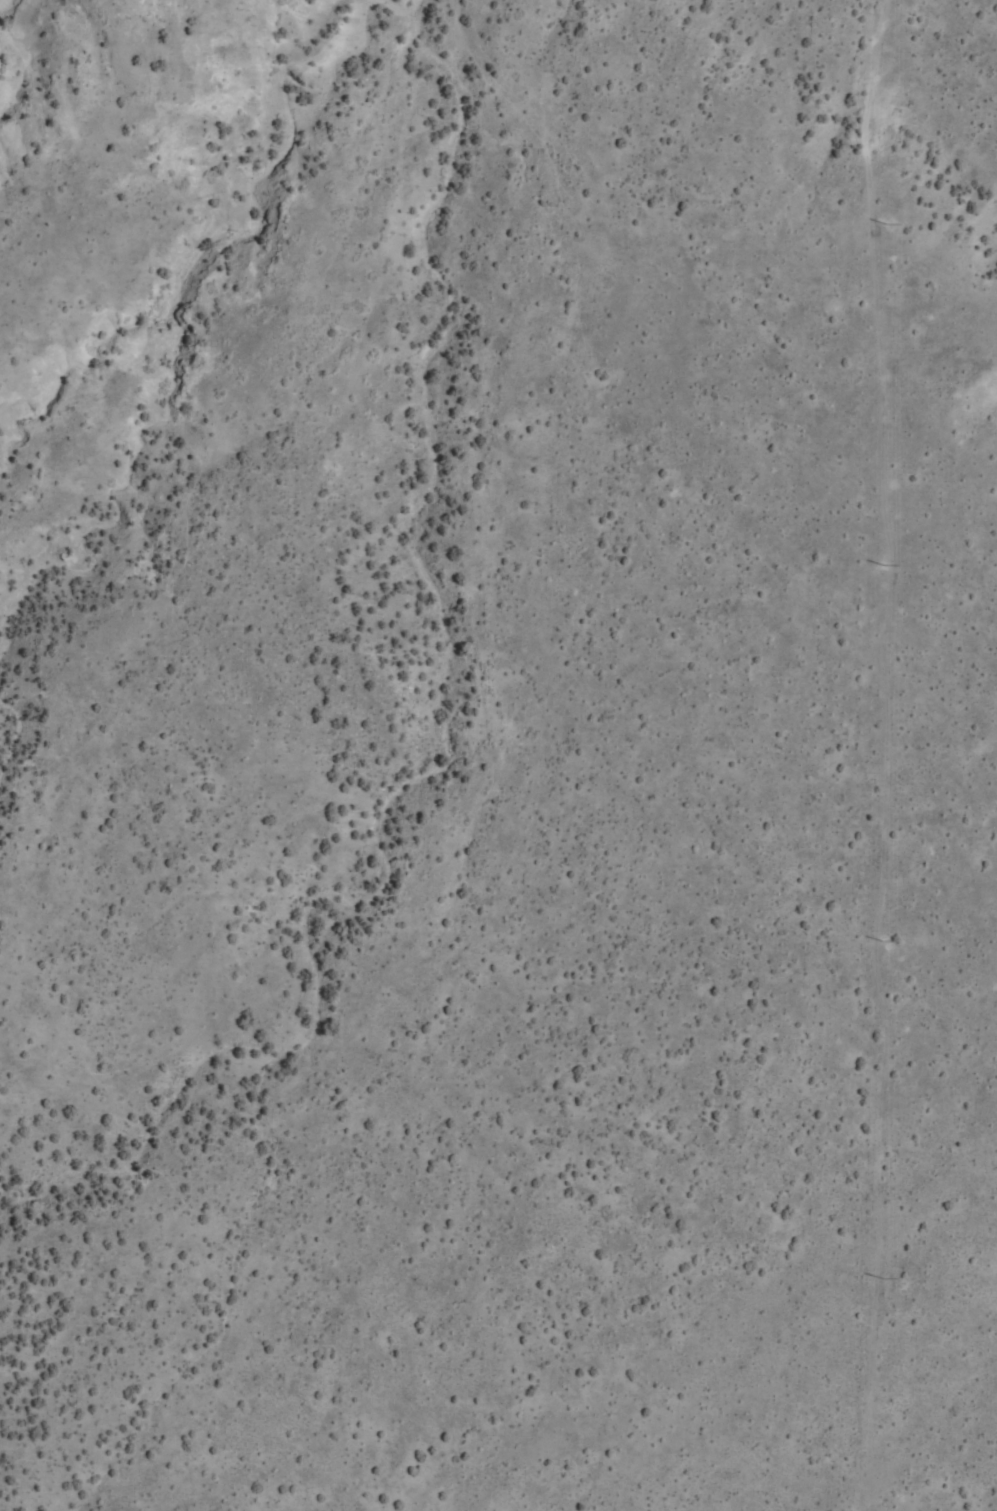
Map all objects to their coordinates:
power tower: (877, 221)
power tower: (878, 564)
power tower: (877, 939)
power tower: (877, 1276)

